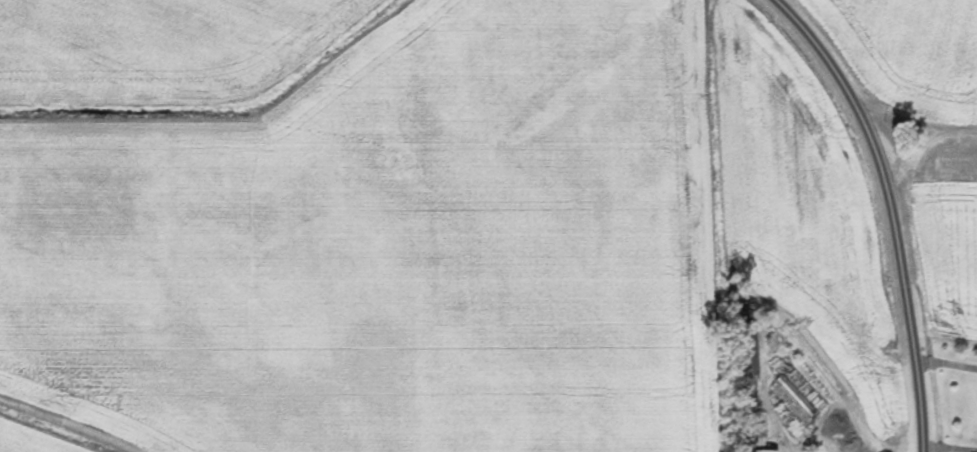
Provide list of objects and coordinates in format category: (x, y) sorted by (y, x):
road: (885, 210)
building: (748, 354)
road: (769, 408)

